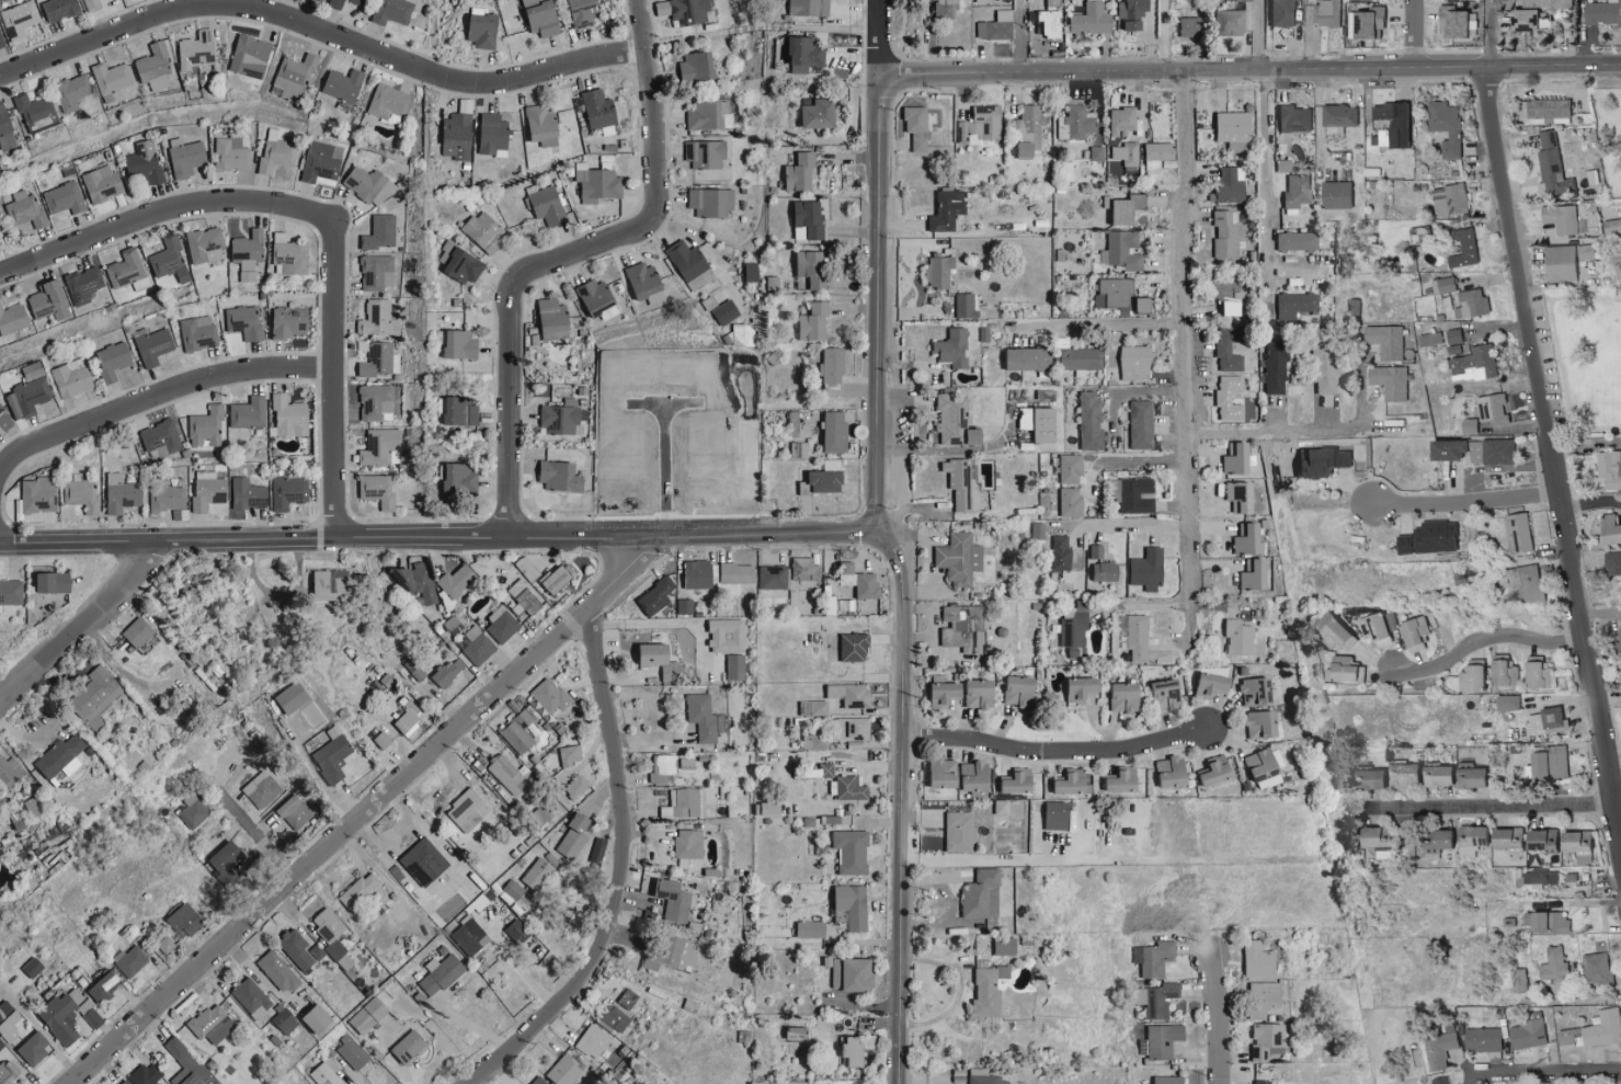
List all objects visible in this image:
building: (1237, 0)
building: (92, 4)
building: (1559, 4)
building: (338, 7)
building: (802, 8)
building: (944, 8)
building: (61, 9)
building: (393, 11)
building: (584, 11)
building: (686, 11)
building: (1601, 12)
building: (1128, 13)
building: (1280, 13)
building: (1325, 13)
building: (544, 18)
building: (20, 19)
building: (1088, 20)
building: (1527, 20)
building: (1046, 23)
building: (1225, 23)
building: (1450, 23)
building: (1367, 24)
building: (993, 26)
building: (1185, 26)
building: (483, 28)
road: (320, 34)
road: (1414, 34)
road: (1494, 34)
road: (1163, 35)
road: (1258, 35)
road: (878, 36)
road: (1019, 36)
building: (1, 43)
building: (197, 50)
building: (800, 52)
building: (251, 56)
building: (155, 67)
building: (690, 67)
road: (1248, 71)
building: (112, 78)
building: (293, 78)
building: (344, 85)
building: (72, 92)
building: (388, 103)
building: (1549, 111)
building: (35, 112)
building: (600, 112)
building: (704, 114)
building: (814, 114)
building: (1292, 118)
building: (1337, 118)
building: (1119, 121)
building: (1074, 123)
building: (544, 125)
building: (1389, 125)
building: (978, 126)
building: (913, 127)
building: (1445, 127)
building: (5, 130)
building: (1230, 130)
building: (1024, 132)
park: (1609, 132)
building: (494, 135)
building: (458, 137)
building: (275, 152)
building: (703, 153)
building: (1123, 153)
building: (1153, 153)
building: (232, 155)
building: (1095, 155)
building: (186, 157)
building: (144, 163)
building: (322, 163)
building: (1279, 166)
building: (1550, 167)
building: (796, 172)
building: (102, 184)
building: (597, 184)
building: (1226, 185)
building: (369, 186)
building: (1294, 191)
road: (1265, 193)
building: (1334, 195)
building: (65, 198)
building: (1448, 199)
building: (709, 202)
road: (180, 203)
building: (546, 206)
building: (24, 209)
building: (943, 210)
building: (1114, 212)
building: (804, 218)
building: (1559, 219)
building: (1611, 227)
building: (486, 231)
building: (381, 232)
building: (1223, 233)
building: (1293, 241)
building: (205, 246)
building: (1117, 249)
building: (1463, 249)
building: (1584, 252)
building: (248, 254)
building: (289, 255)
road: (559, 255)
building: (169, 261)
park: (1619, 262)
building: (460, 263)
building: (1557, 264)
building: (690, 265)
building: (807, 269)
building: (128, 271)
building: (751, 272)
building: (935, 272)
building: (377, 273)
building: (642, 281)
building: (774, 284)
building: (84, 285)
building: (1442, 285)
building: (1115, 294)
building: (594, 298)
building: (50, 301)
building: (1294, 301)
building: (709, 304)
building: (1470, 304)
building: (1139, 305)
building: (962, 306)
building: (726, 312)
building: (13, 319)
building: (378, 319)
building: (555, 320)
building: (811, 321)
building: (243, 322)
building: (290, 322)
road: (1098, 324)
building: (196, 333)
building: (742, 335)
building: (1452, 335)
building: (1384, 341)
building: (461, 345)
building: (153, 347)
building: (948, 347)
building: (1072, 356)
road: (1573, 356)
park: (1588, 357)
building: (1018, 358)
building: (380, 360)
building: (113, 361)
building: (1131, 361)
building: (1473, 363)
road: (1186, 364)
building: (831, 365)
building: (1274, 365)
building: (33, 372)
building: (71, 378)
building: (1389, 381)
road: (158, 390)
road: (334, 396)
building: (1226, 397)
building: (27, 398)
building: (377, 402)
building: (1489, 409)
building: (0, 410)
building: (460, 412)
building: (289, 417)
building: (559, 420)
building: (949, 420)
building: (1087, 420)
building: (1036, 423)
building: (1138, 424)
building: (207, 427)
road: (1275, 430)
building: (830, 431)
building: (160, 438)
road: (1587, 443)
road: (1553, 444)
building: (380, 446)
building: (1445, 448)
building: (1473, 452)
building: (1496, 452)
building: (1233, 458)
building: (1340, 458)
road: (1129, 461)
building: (1311, 461)
building: (1068, 467)
road: (660, 469)
building: (1608, 470)
building: (558, 478)
building: (459, 479)
building: (820, 481)
building: (957, 483)
building: (378, 490)
building: (209, 491)
building: (248, 491)
building: (288, 492)
building: (82, 493)
building: (123, 494)
building: (1134, 494)
building: (1234, 494)
building: (38, 495)
building: (168, 499)
building: (1066, 501)
road: (1593, 502)
road: (1469, 505)
road: (1132, 525)
building: (1609, 528)
building: (1035, 530)
building: (1518, 532)
building: (1242, 537)
building: (1429, 538)
road: (442, 539)
building: (1095, 550)
building: (1058, 552)
road: (929, 555)
building: (956, 557)
building: (1612, 562)
building: (802, 569)
building: (1103, 571)
building: (1143, 571)
building: (734, 572)
building: (694, 573)
building: (1248, 573)
road: (901, 575)
building: (770, 577)
building: (557, 578)
building: (456, 580)
building: (54, 581)
building: (415, 581)
building: (854, 581)
building: (1525, 582)
building: (330, 584)
building: (11, 592)
building: (193, 593)
building: (525, 595)
building: (652, 595)
building: (682, 605)
building: (834, 605)
road: (1602, 614)
building: (969, 617)
road: (83, 618)
building: (502, 625)
building: (1072, 627)
building: (1372, 628)
building: (1329, 630)
building: (138, 631)
building: (1412, 635)
building: (722, 636)
building: (1134, 637)
building: (1236, 637)
building: (476, 646)
building: (844, 646)
road: (1486, 646)
building: (657, 653)
building: (732, 666)
building: (1339, 667)
building: (416, 670)
building: (448, 672)
building: (1502, 672)
building: (1536, 672)
building: (1619, 675)
building: (1469, 677)
building: (1205, 684)
building: (1012, 688)
building: (1075, 688)
building: (1249, 689)
building: (92, 691)
building: (936, 692)
building: (972, 693)
building: (1161, 693)
building: (846, 694)
building: (551, 695)
building: (1119, 696)
building: (294, 697)
building: (109, 698)
building: (1506, 701)
building: (810, 707)
building: (408, 717)
building: (704, 717)
building: (1545, 721)
building: (1255, 723)
building: (846, 728)
building: (520, 732)
building: (383, 740)
building: (812, 741)
road: (1058, 752)
building: (571, 754)
building: (333, 755)
building: (61, 762)
building: (686, 762)
building: (1546, 763)
building: (662, 767)
building: (9, 769)
building: (819, 769)
building: (1165, 771)
building: (1209, 771)
building: (938, 772)
road: (313, 773)
building: (1402, 773)
building: (509, 775)
building: (968, 775)
building: (1435, 775)
building: (1468, 777)
building: (1366, 778)
building: (1116, 779)
road: (1618, 780)
building: (1063, 781)
building: (1009, 783)
building: (578, 787)
building: (848, 787)
building: (262, 789)
road: (1619, 802)
building: (684, 803)
building: (33, 806)
building: (762, 808)
road: (1491, 809)
road: (363, 810)
building: (468, 810)
building: (194, 812)
building: (295, 812)
road: (247, 826)
building: (956, 831)
building: (574, 835)
building: (1469, 835)
building: (1504, 837)
building: (1538, 840)
building: (1574, 841)
building: (1372, 842)
building: (598, 851)
building: (847, 851)
building: (225, 856)
building: (424, 862)
road: (620, 872)
building: (538, 874)
building: (228, 877)
building: (1539, 877)
building: (514, 890)
building: (359, 891)
building: (978, 893)
building: (675, 900)
building: (847, 904)
building: (184, 920)
building: (1548, 922)
building: (809, 928)
building: (517, 932)
building: (470, 936)
building: (333, 937)
building: (290, 940)
building: (165, 944)
building: (1000, 945)
building: (1152, 958)
building: (1253, 959)
building: (130, 960)
building: (300, 960)
building: (1553, 963)
building: (33, 967)
building: (1595, 968)
building: (278, 971)
building: (849, 973)
road: (259, 974)
building: (442, 975)
building: (1518, 980)
building: (105, 986)
building: (983, 990)
building: (1155, 999)
building: (1258, 999)
building: (249, 1000)
building: (632, 1002)
road: (1217, 1013)
building: (368, 1015)
building: (615, 1017)
building: (8, 1018)
building: (56, 1018)
building: (320, 1019)
building: (285, 1020)
road: (35, 1023)
building: (214, 1024)
building: (1591, 1031)
building: (796, 1032)
building: (1526, 1035)
building: (1482, 1039)
building: (594, 1040)
building: (1158, 1040)
building: (1263, 1040)
building: (1, 1043)
building: (410, 1046)
building: (34, 1048)
building: (858, 1048)
building: (1440, 1049)
building: (352, 1053)
building: (1416, 1053)
building: (187, 1063)
building: (566, 1070)
road: (1550, 1071)
building: (327, 1072)
building: (8, 1073)
building: (147, 1074)
building: (983, 1080)
building: (1164, 1080)
building: (539, 1081)
building: (1442, 1081)
building: (125, 1082)
building: (1259, 1082)

